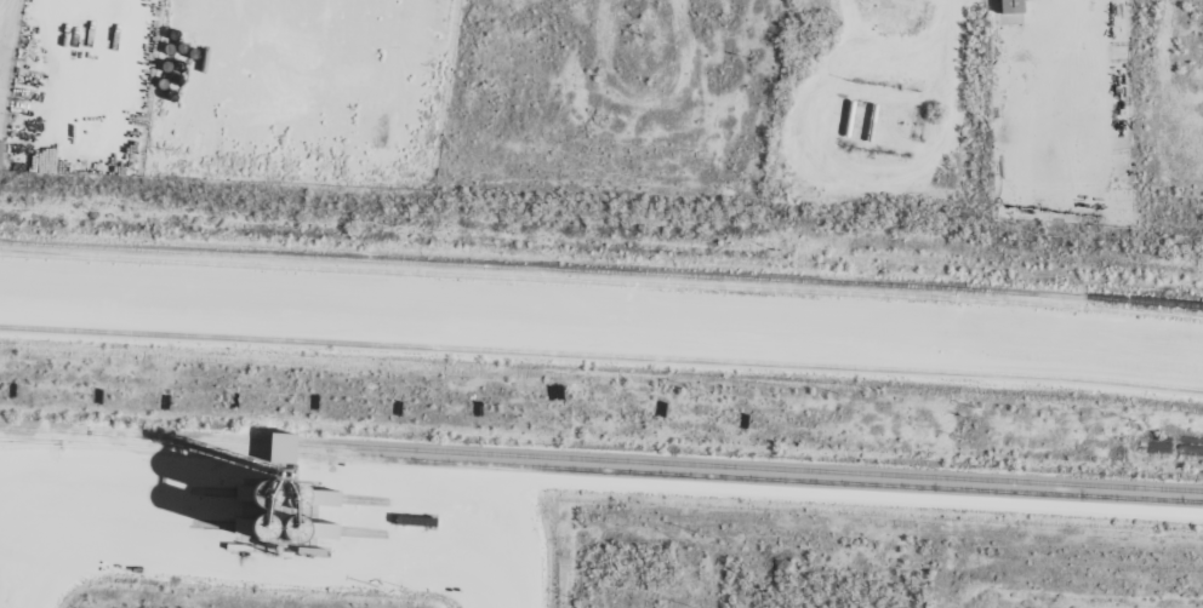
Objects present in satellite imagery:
railway: (400, 260)
railway: (1002, 292)
railway: (1165, 309)
road: (601, 355)
road: (568, 481)

